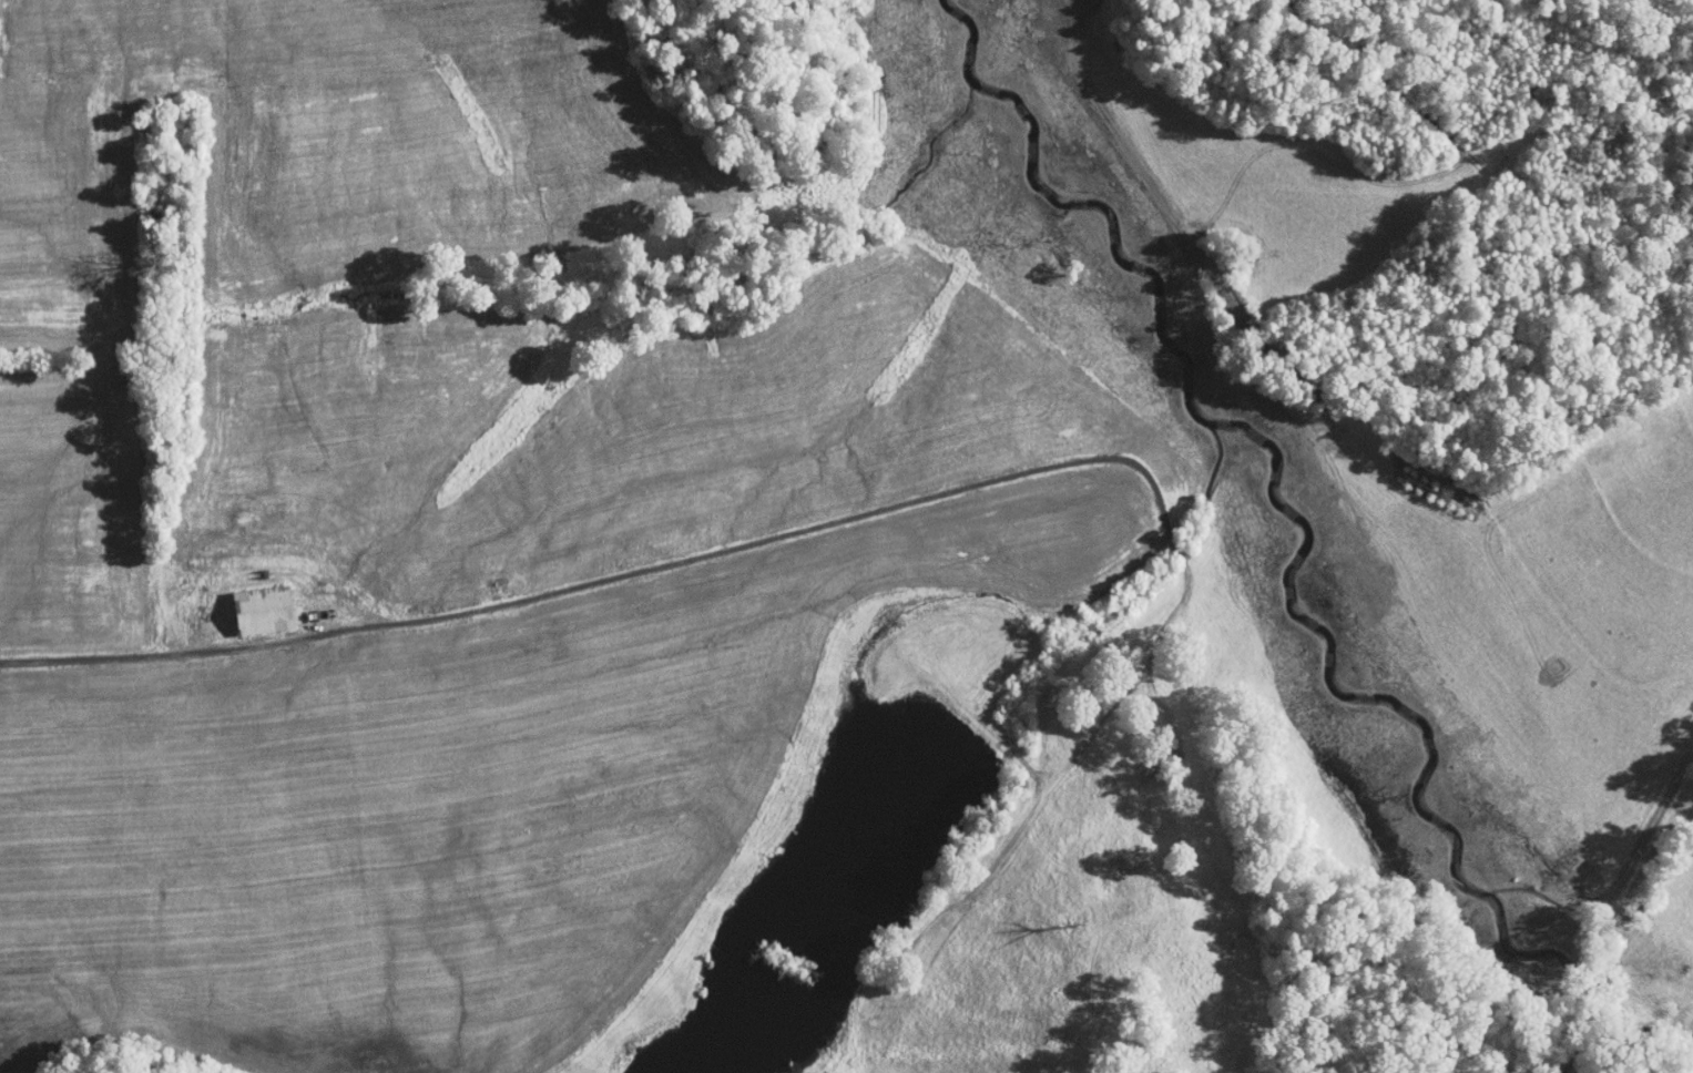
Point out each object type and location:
building: (254, 602)

